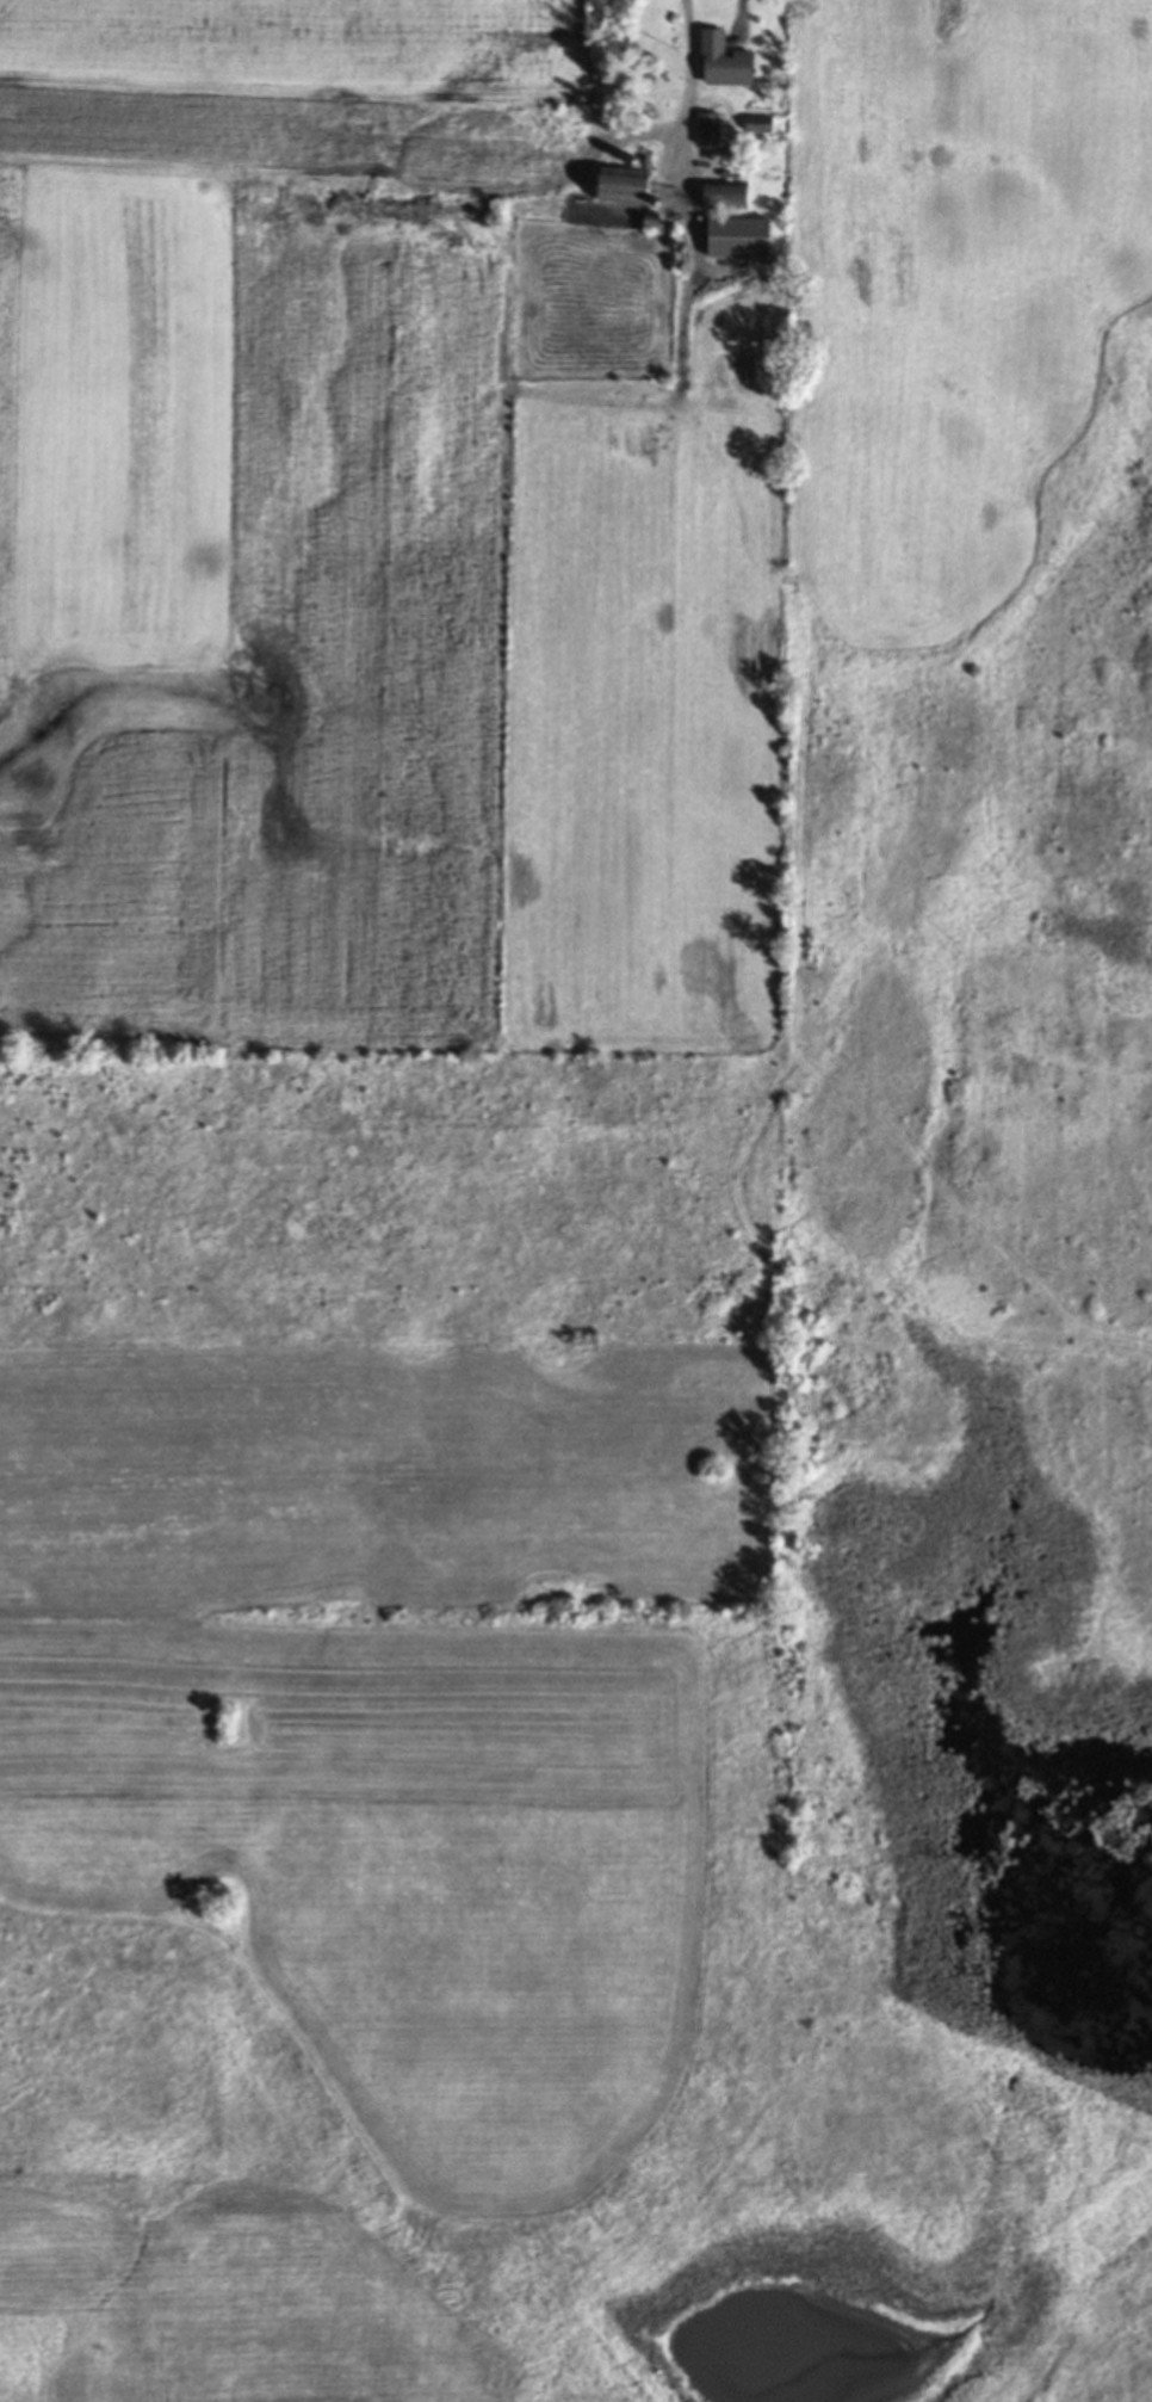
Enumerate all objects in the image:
building: (726, 62)
road: (689, 85)
building: (761, 121)
building: (711, 129)
building: (626, 186)
building: (727, 196)
building: (742, 237)

